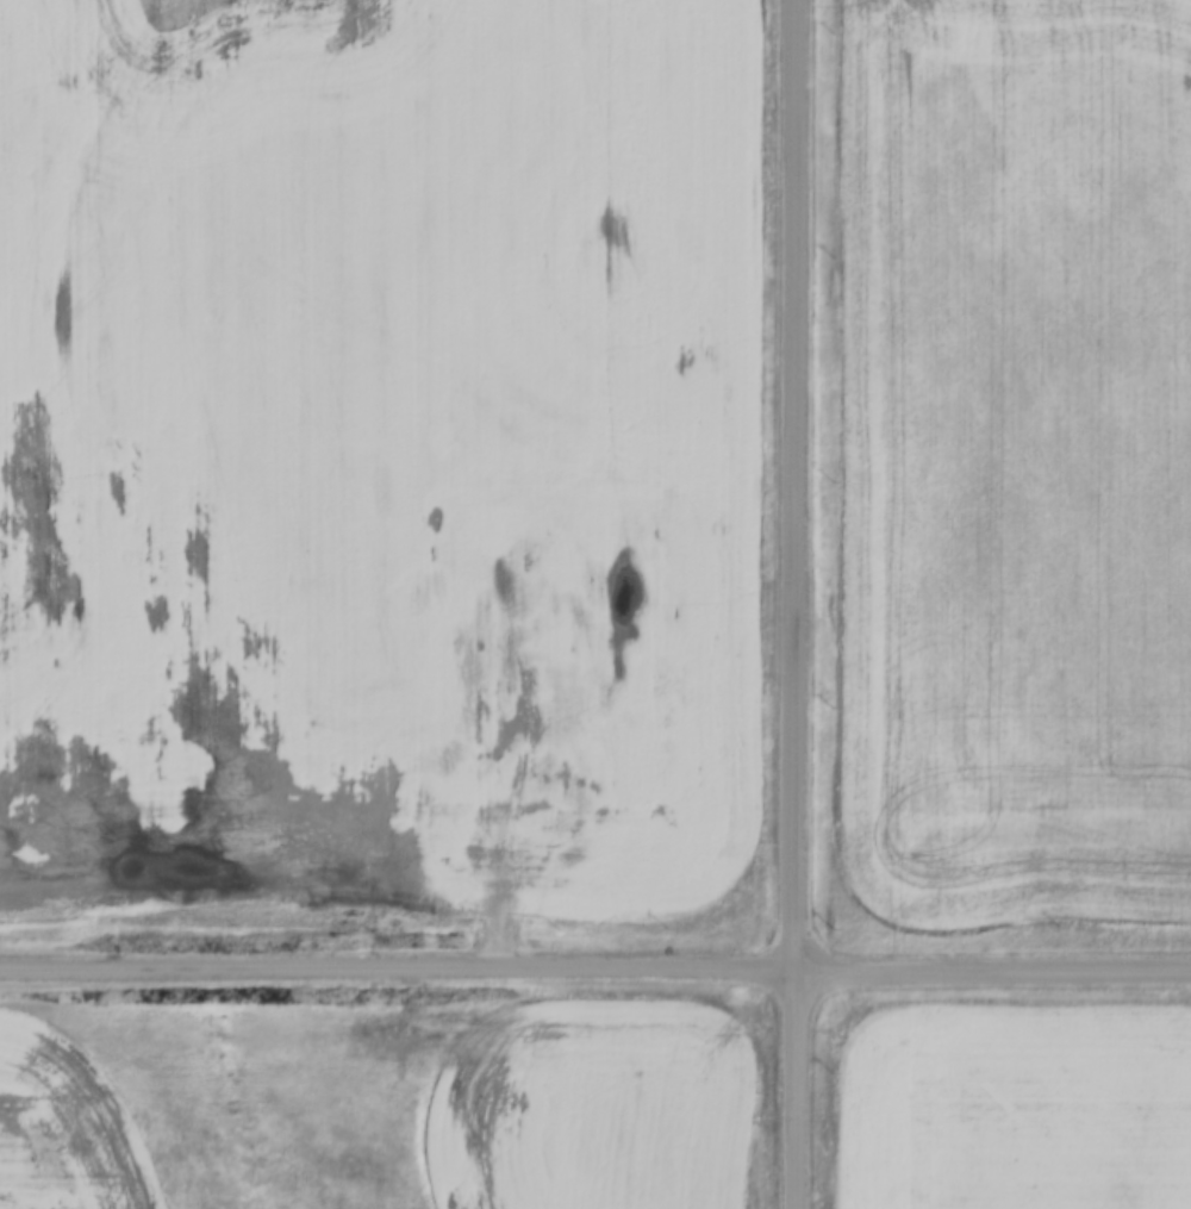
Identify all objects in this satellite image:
road: (792, 482)
road: (505, 804)
road: (594, 966)
road: (792, 1088)

